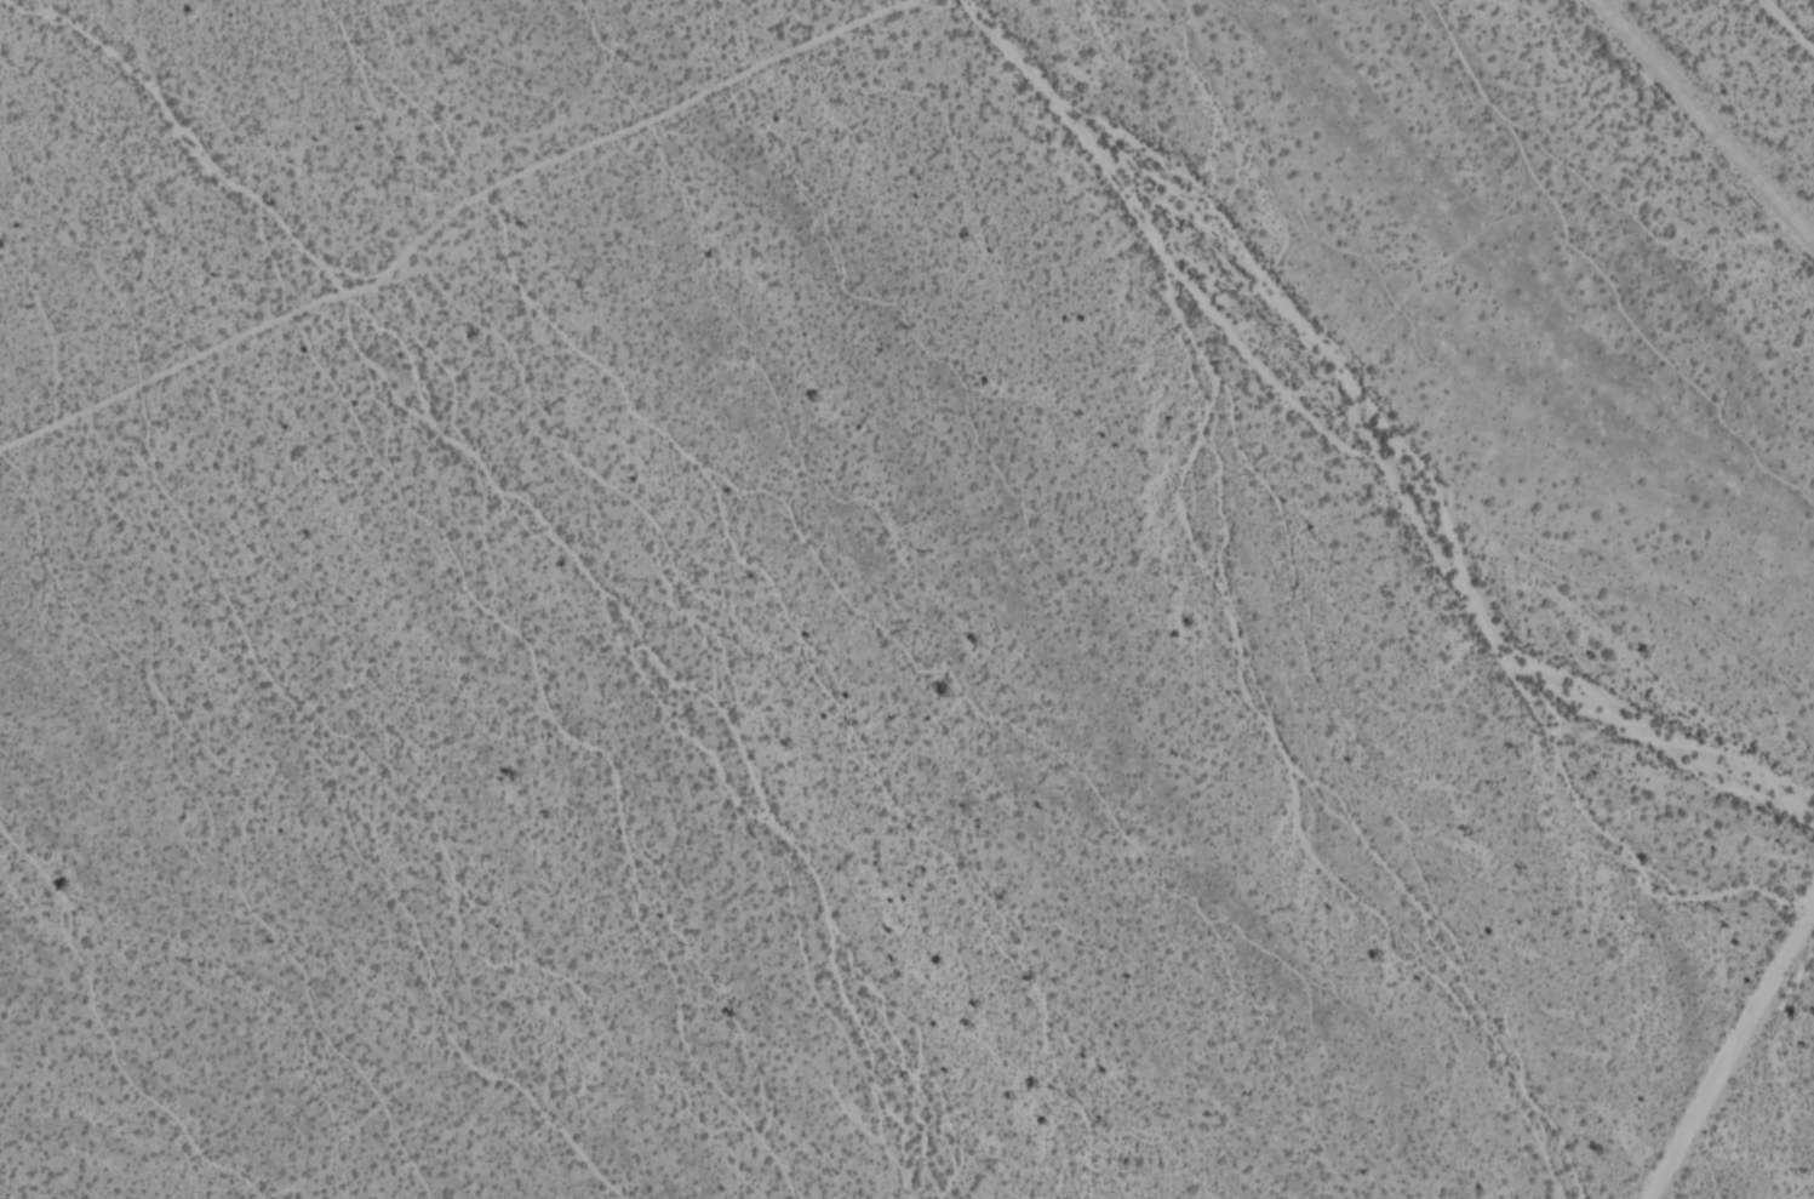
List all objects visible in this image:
road: (1706, 120)
road: (1735, 1055)

